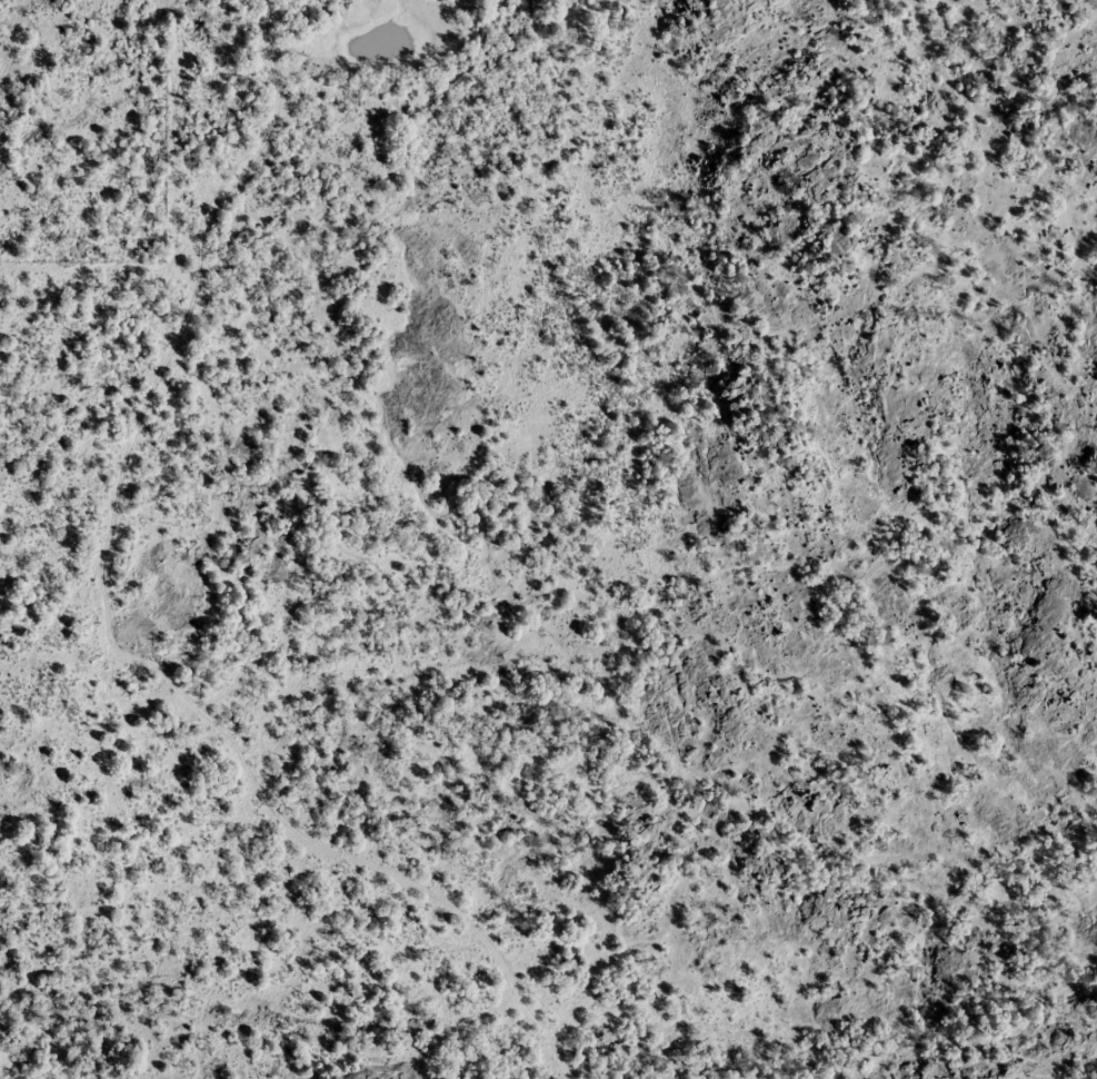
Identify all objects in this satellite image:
road: (2, 16)
road: (108, 627)

